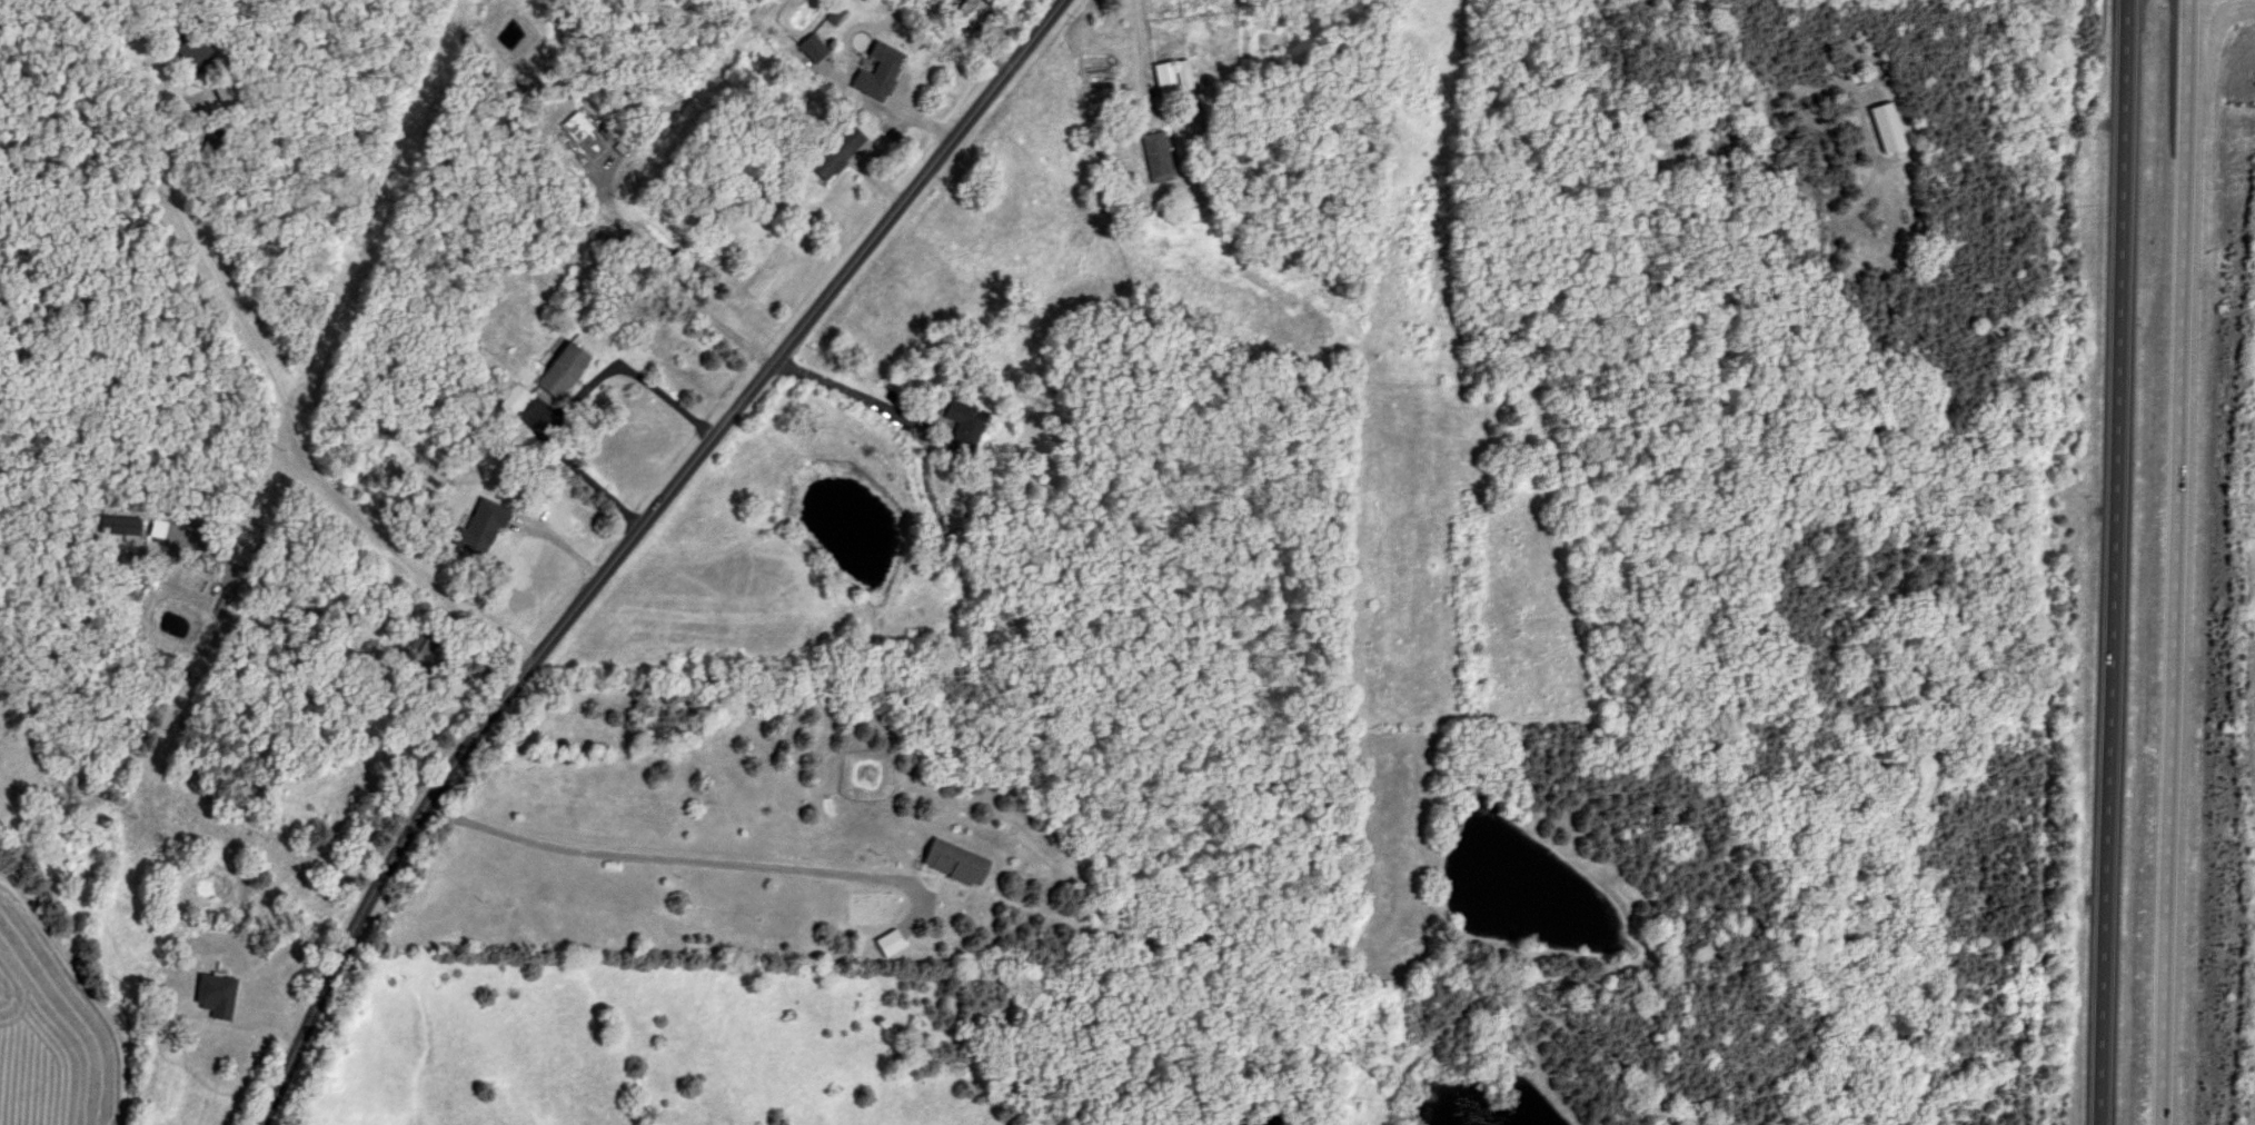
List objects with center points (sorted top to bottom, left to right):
building: (966, 13)
road: (1135, 48)
building: (873, 73)
building: (1168, 78)
building: (833, 153)
building: (1154, 158)
road: (261, 365)
building: (558, 372)
road: (844, 388)
building: (958, 426)
road: (626, 540)
road: (2116, 562)
road: (2179, 562)
road: (326, 615)
road: (658, 857)
building: (950, 862)
road: (88, 990)

